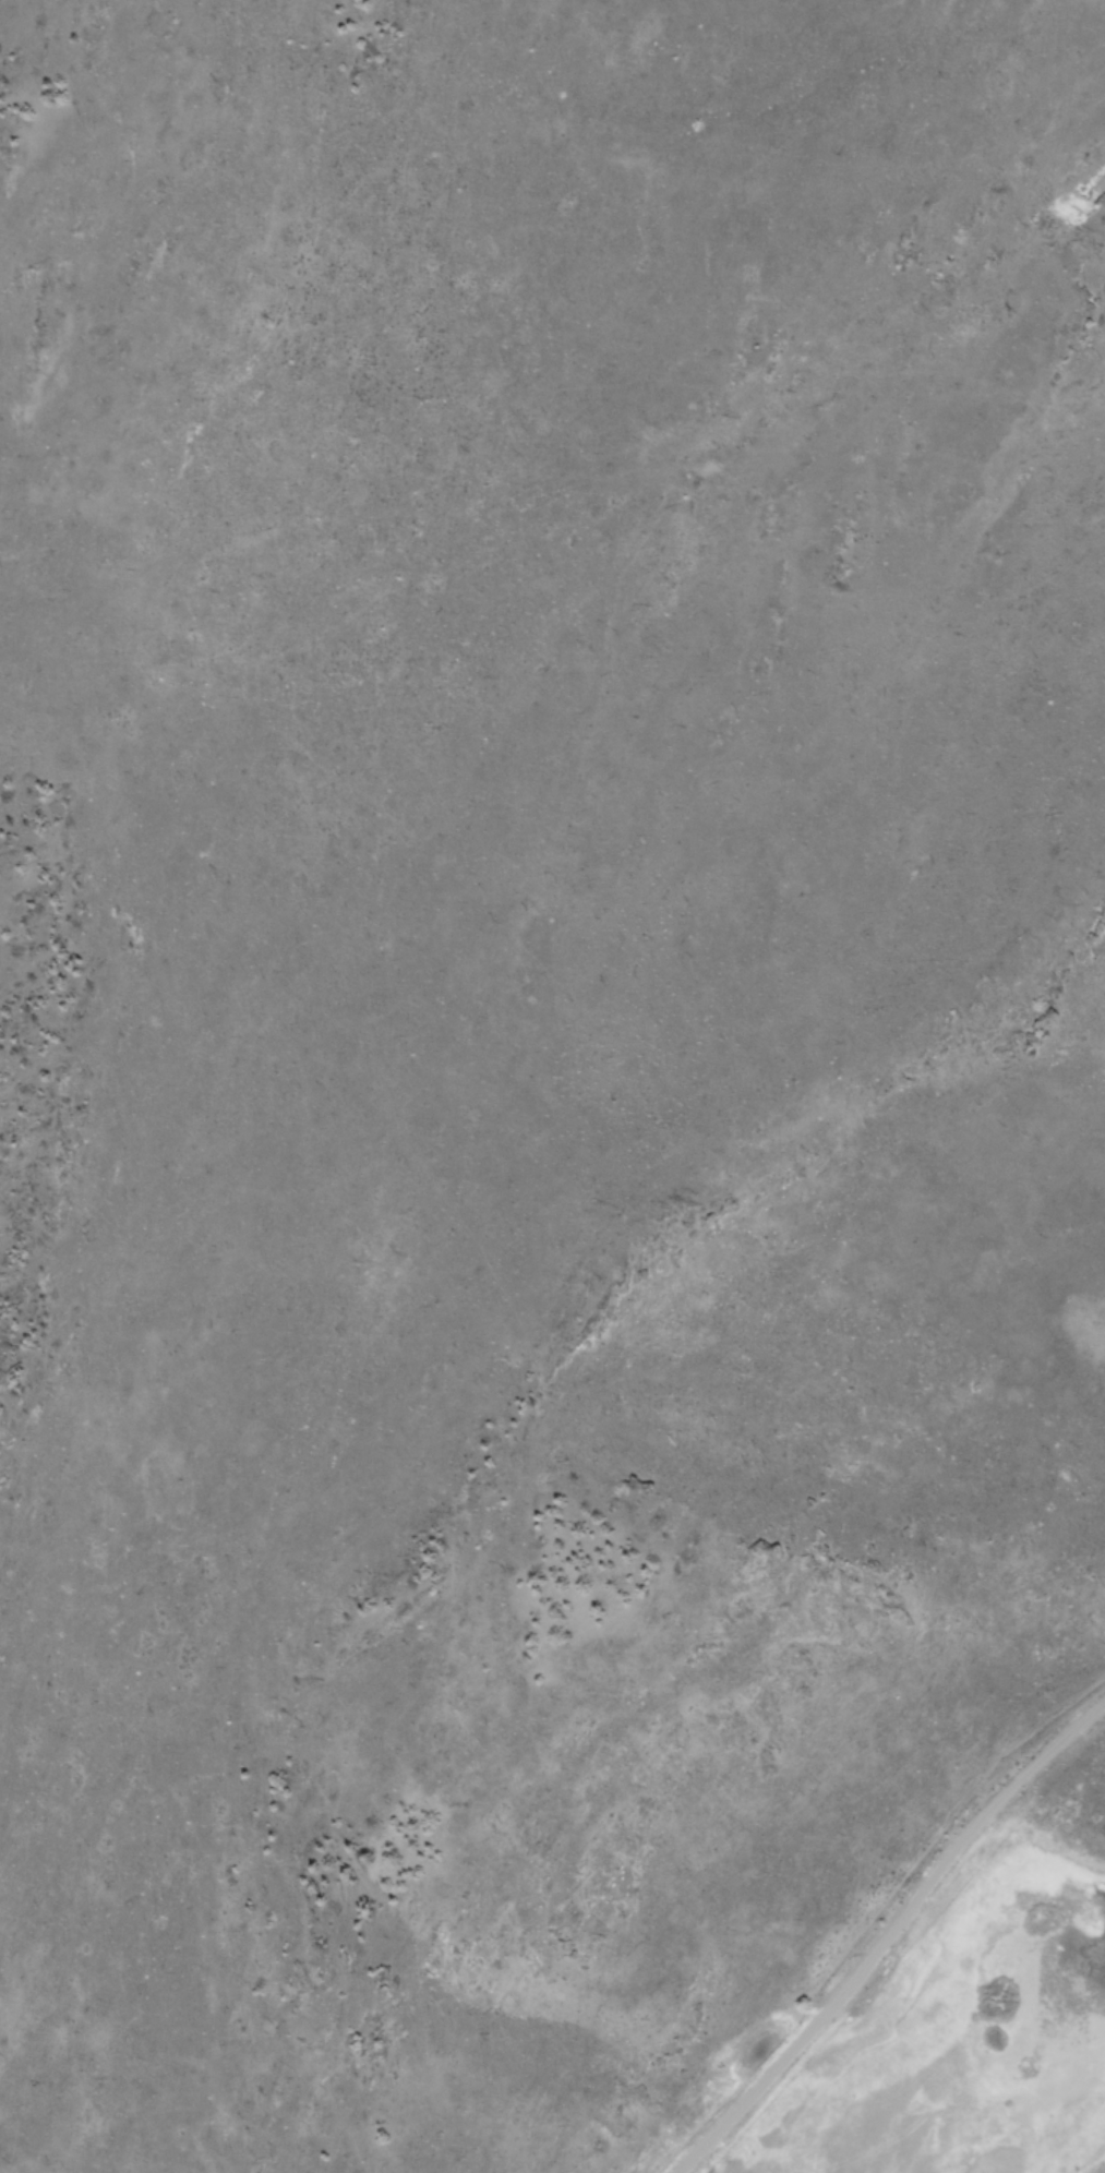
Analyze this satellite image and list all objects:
road: (888, 1937)

